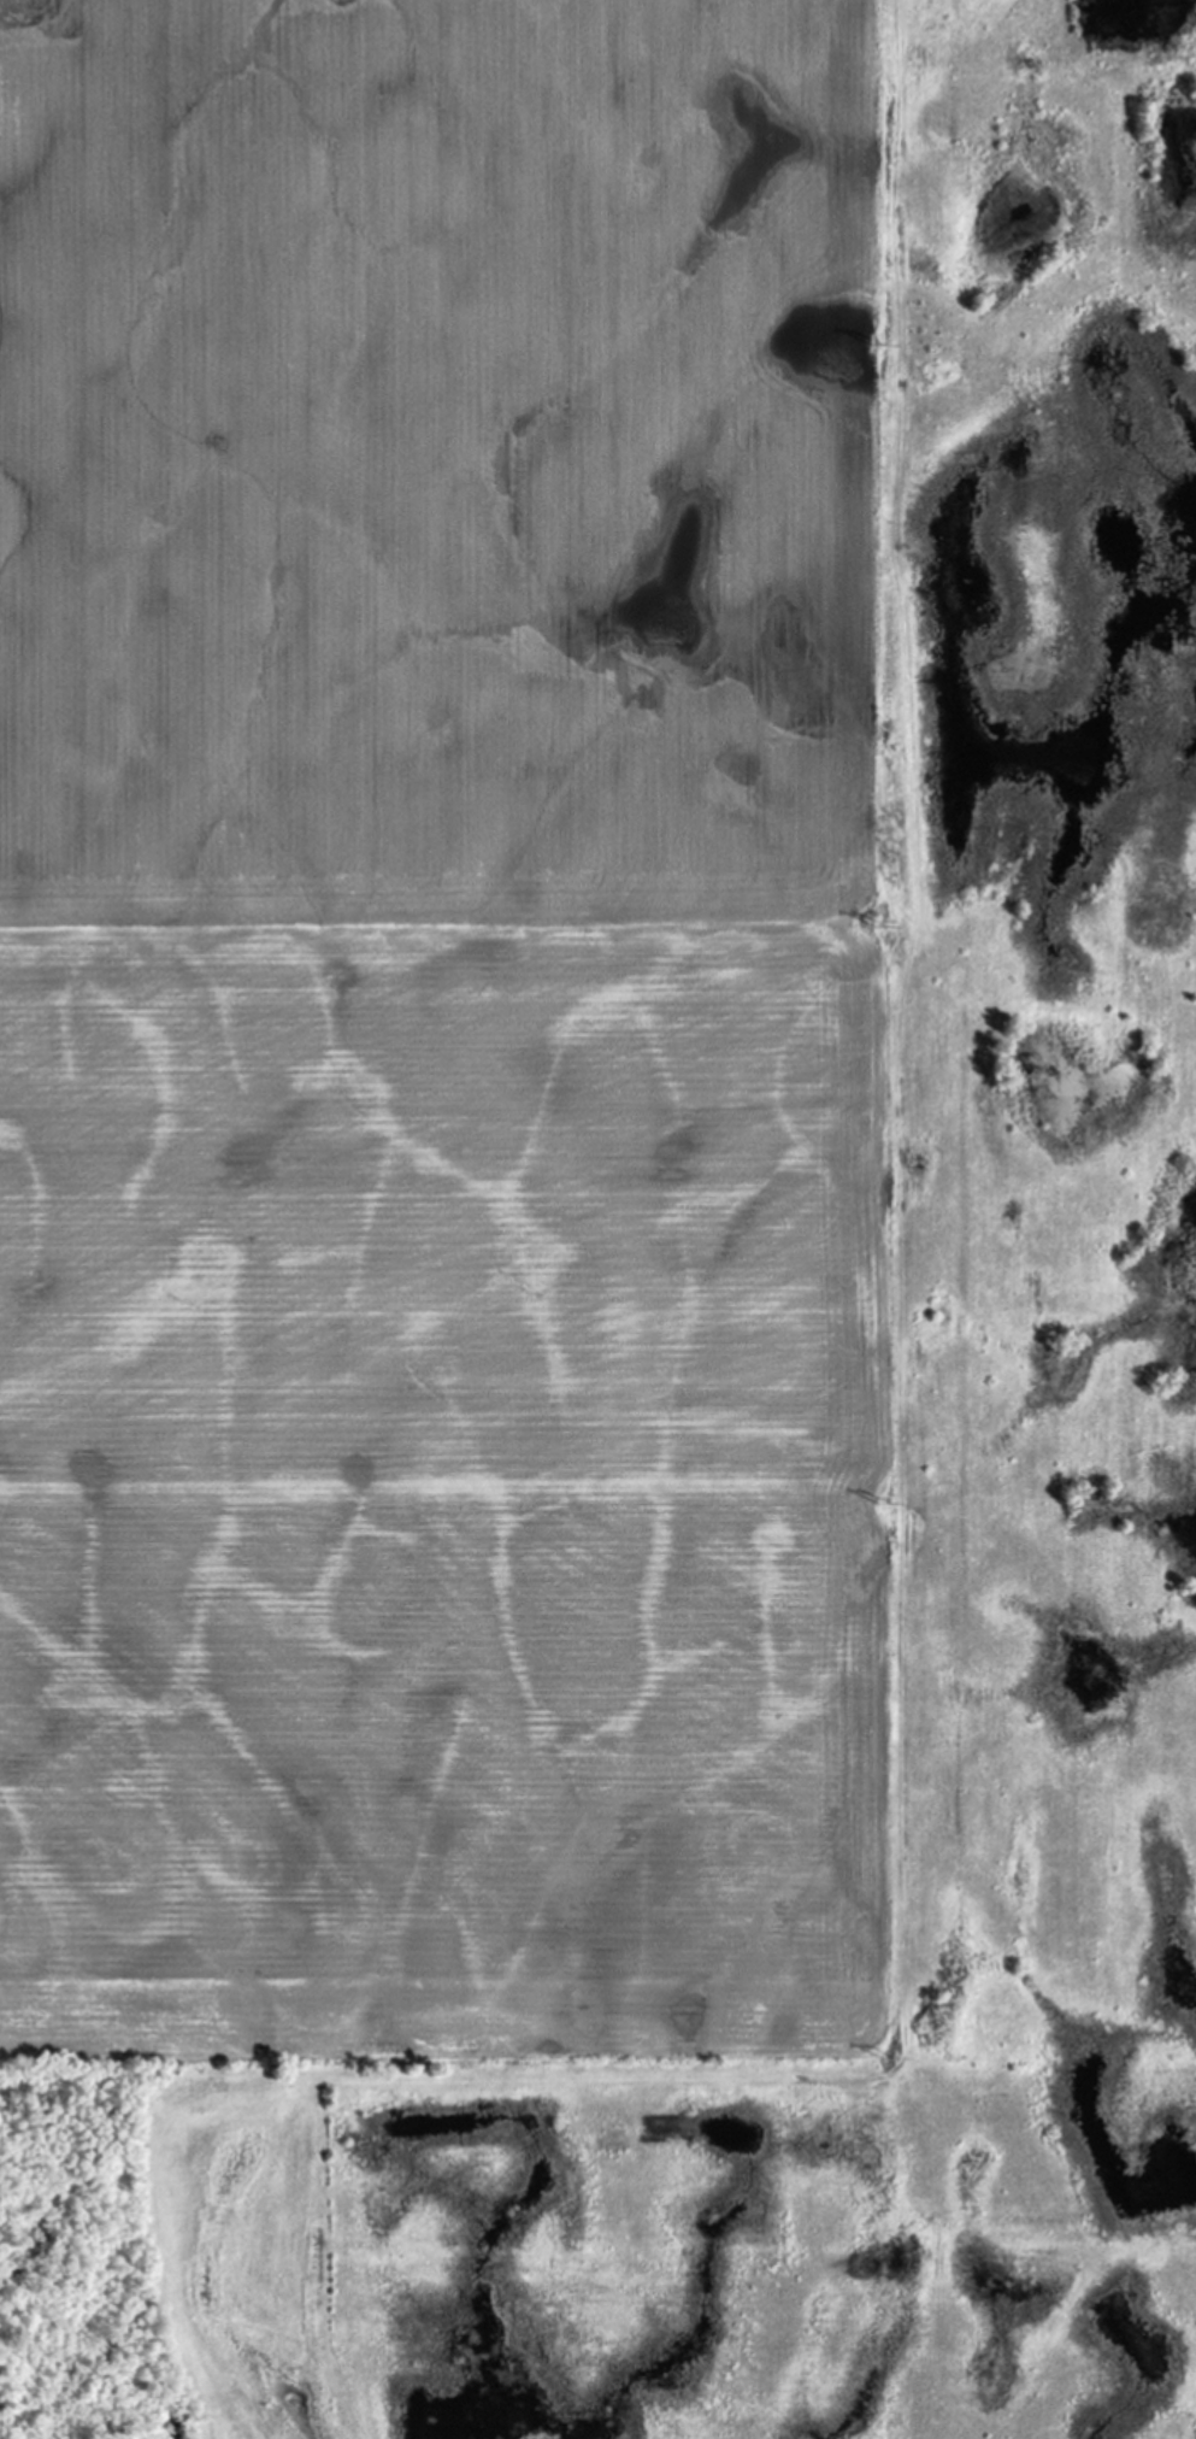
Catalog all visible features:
power tower: (883, 341)
power tower: (885, 922)
power tower: (891, 1503)
power tower: (894, 2055)

